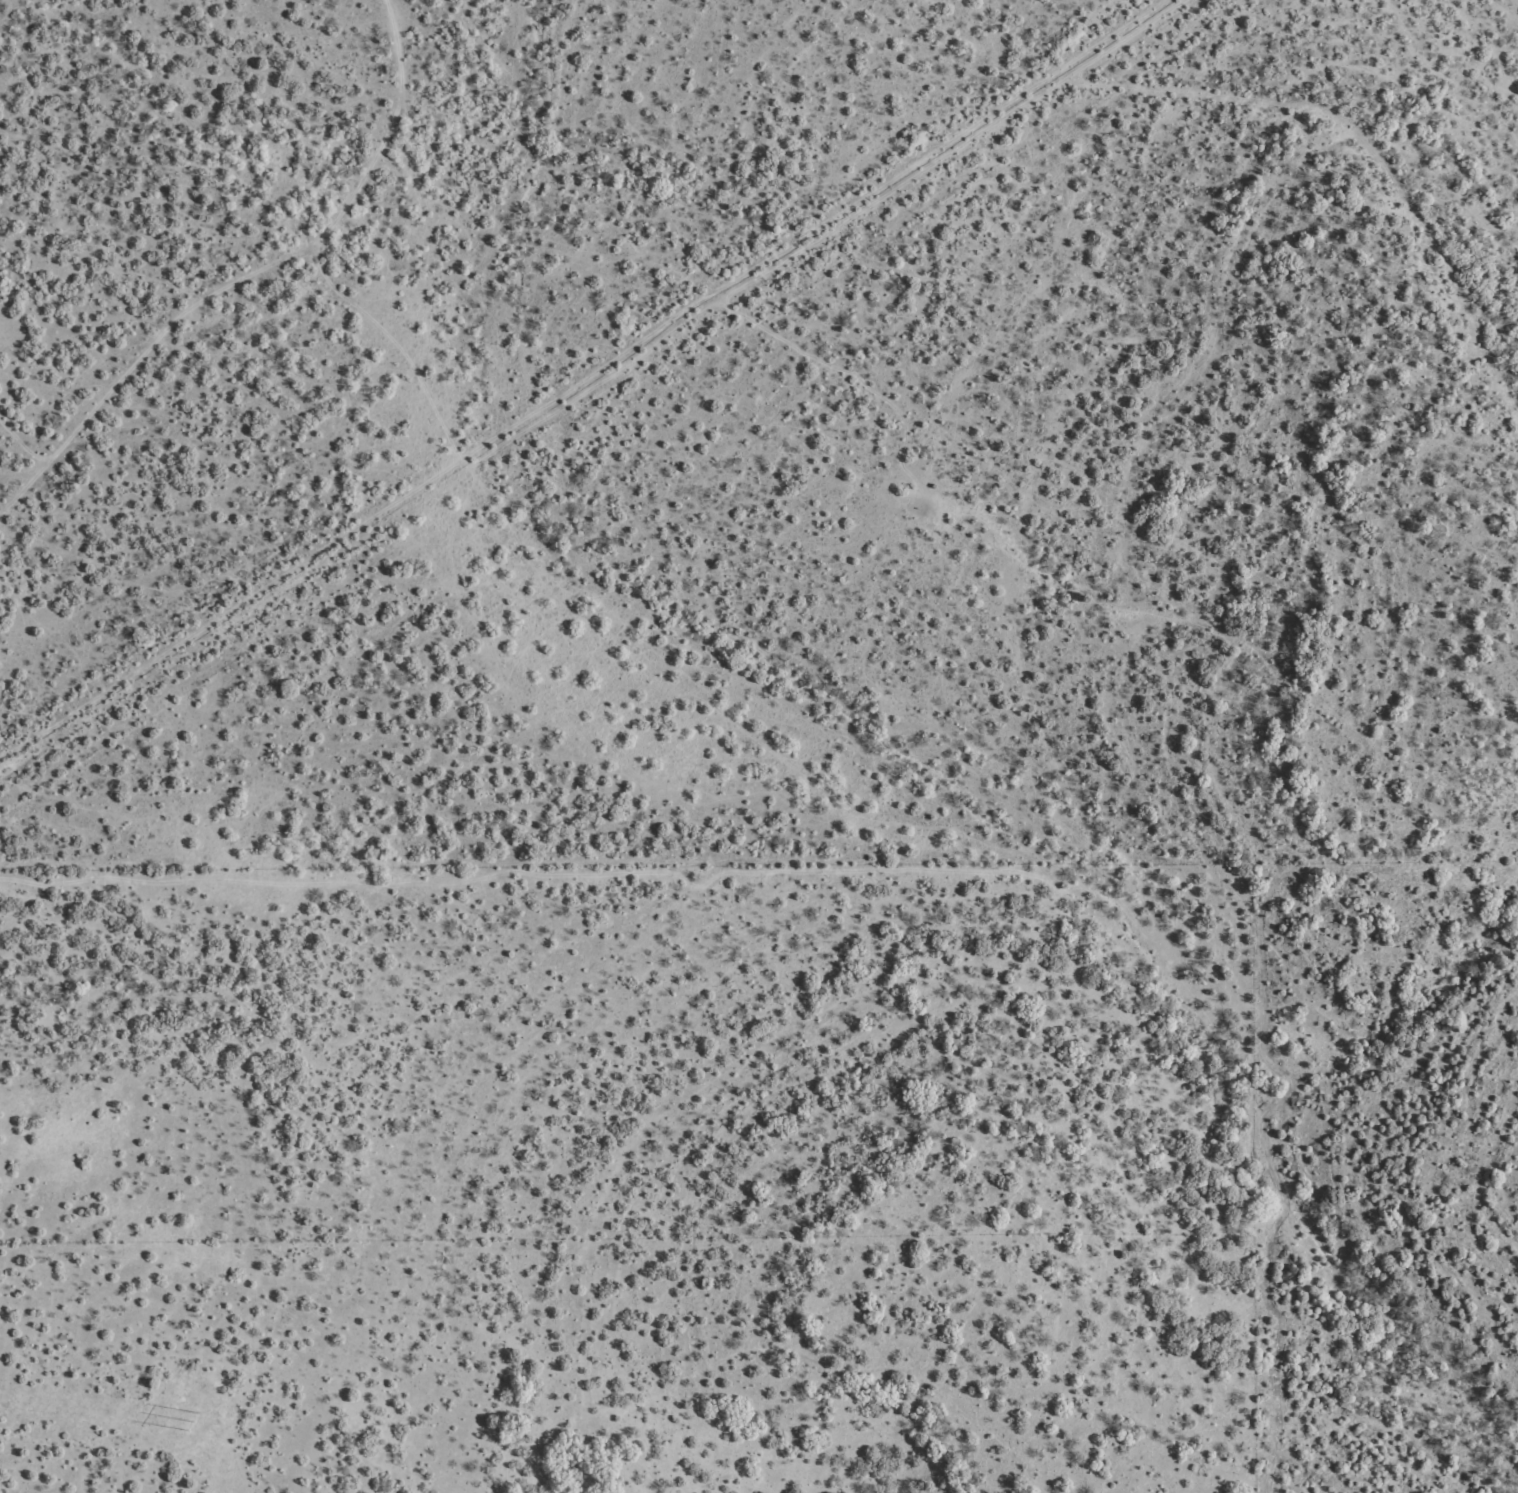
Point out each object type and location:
road: (497, 471)
power tower: (182, 1419)

